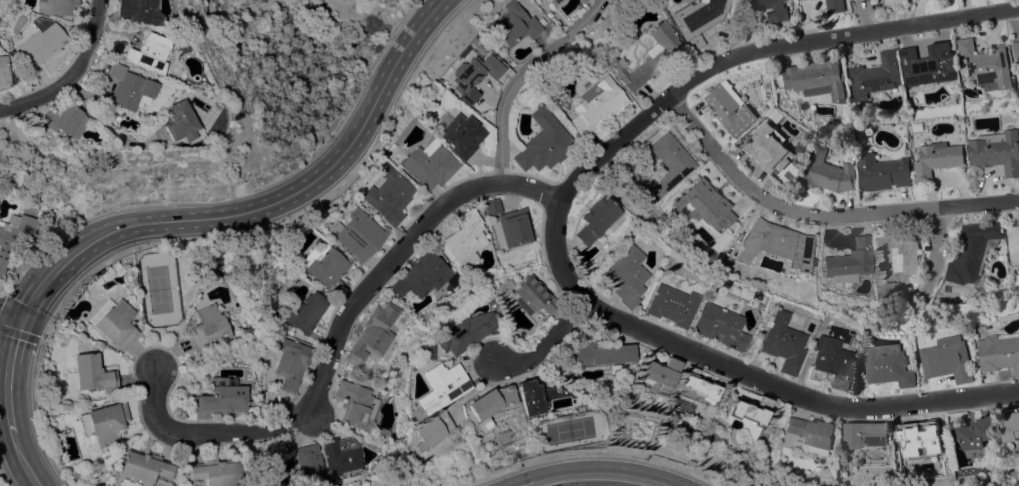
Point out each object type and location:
building: (892, 1)
building: (555, 2)
building: (835, 6)
building: (56, 7)
building: (768, 8)
building: (137, 11)
building: (697, 19)
building: (540, 21)
building: (513, 24)
building: (40, 41)
building: (1016, 48)
road: (764, 52)
building: (145, 53)
building: (649, 57)
building: (927, 64)
building: (987, 64)
building: (3, 71)
building: (473, 72)
road: (71, 74)
building: (875, 76)
road: (521, 77)
building: (816, 79)
building: (120, 87)
building: (596, 106)
building: (729, 107)
building: (60, 120)
building: (172, 122)
road: (96, 127)
building: (460, 135)
building: (543, 143)
building: (997, 151)
building: (772, 152)
building: (935, 159)
building: (667, 164)
building: (428, 166)
building: (828, 171)
building: (882, 172)
building: (388, 196)
road: (266, 205)
building: (492, 206)
road: (822, 213)
building: (711, 218)
building: (595, 219)
building: (513, 227)
building: (15, 235)
building: (356, 235)
building: (465, 238)
building: (1013, 243)
building: (777, 244)
road: (938, 246)
building: (972, 250)
building: (900, 253)
building: (814, 261)
building: (850, 261)
building: (325, 268)
building: (626, 275)
building: (422, 276)
building: (886, 290)
building: (533, 296)
building: (670, 305)
road: (12, 310)
building: (305, 312)
traffic signals: (25, 315)
building: (116, 325)
building: (718, 326)
building: (208, 328)
building: (466, 332)
building: (373, 333)
road: (334, 340)
building: (781, 343)
road: (546, 345)
building: (999, 351)
building: (425, 352)
building: (602, 353)
building: (948, 359)
building: (831, 362)
building: (290, 363)
building: (888, 365)
road: (742, 369)
road: (9, 373)
building: (93, 373)
building: (658, 373)
building: (70, 380)
building: (442, 387)
building: (700, 390)
building: (529, 398)
building: (221, 400)
building: (492, 401)
building: (356, 404)
building: (750, 411)
building: (631, 414)
building: (104, 422)
building: (1011, 424)
building: (433, 429)
building: (812, 431)
building: (975, 432)
building: (700, 434)
building: (864, 434)
building: (917, 439)
building: (278, 450)
building: (342, 456)
road: (23, 460)
building: (688, 463)
building: (309, 465)
building: (143, 468)
building: (215, 472)
road: (596, 477)

